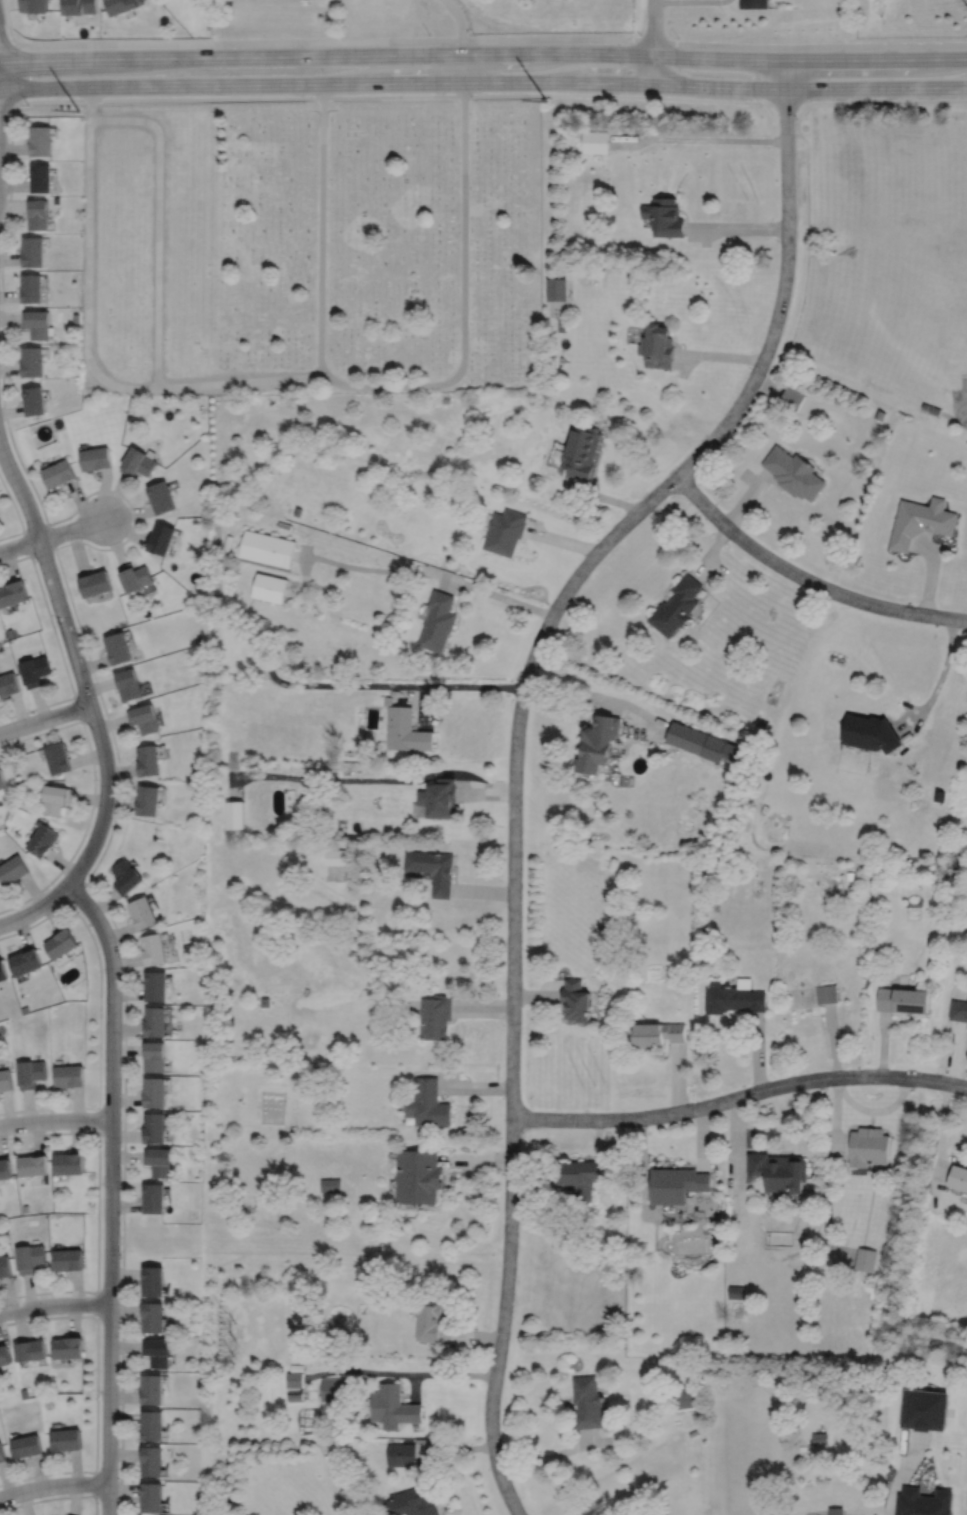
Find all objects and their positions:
road: (689, 1)
building: (752, 4)
building: (34, 6)
building: (123, 6)
building: (80, 7)
road: (9, 21)
street lamp: (476, 35)
road: (462, 37)
street lamp: (678, 37)
road: (483, 39)
road: (654, 41)
road: (0, 42)
road: (483, 53)
road: (483, 80)
road: (881, 100)
road: (6, 112)
road: (793, 112)
street lamp: (9, 124)
building: (596, 139)
road: (700, 139)
building: (41, 142)
building: (40, 177)
building: (38, 212)
building: (664, 214)
road: (737, 227)
road: (322, 229)
road: (806, 240)
park: (312, 247)
building: (32, 250)
building: (31, 287)
building: (556, 287)
road: (464, 299)
building: (36, 321)
building: (561, 324)
road: (90, 342)
building: (657, 344)
road: (719, 356)
building: (32, 360)
building: (792, 397)
building: (446, 398)
building: (34, 399)
parking lot: (959, 402)
building: (922, 405)
building: (933, 410)
building: (879, 414)
building: (580, 450)
building: (95, 457)
building: (137, 462)
building: (58, 472)
building: (792, 472)
road: (601, 495)
building: (161, 496)
street lamp: (88, 498)
road: (747, 499)
building: (296, 511)
road: (17, 515)
building: (919, 521)
road: (49, 523)
road: (72, 528)
building: (504, 531)
building: (161, 538)
road: (562, 540)
road: (19, 545)
road: (53, 547)
building: (267, 548)
road: (709, 550)
street lamp: (35, 561)
road: (407, 570)
road: (930, 572)
building: (134, 577)
road: (805, 579)
building: (96, 583)
building: (270, 587)
building: (13, 593)
building: (676, 606)
building: (437, 621)
road: (58, 647)
building: (118, 648)
road: (265, 662)
road: (78, 664)
building: (34, 670)
street lamp: (92, 678)
road: (939, 682)
building: (8, 685)
building: (129, 685)
road: (600, 695)
building: (387, 700)
road: (78, 708)
street lamp: (30, 712)
road: (45, 717)
building: (144, 719)
building: (761, 723)
building: (405, 729)
building: (869, 734)
building: (598, 741)
building: (703, 745)
road: (515, 746)
building: (58, 759)
building: (148, 761)
street lamp: (97, 779)
road: (369, 779)
building: (2, 781)
building: (736, 786)
road: (94, 792)
building: (939, 796)
building: (439, 797)
building: (56, 798)
building: (149, 799)
building: (420, 811)
building: (234, 813)
building: (43, 838)
building: (337, 856)
building: (13, 867)
building: (432, 868)
building: (127, 875)
building: (849, 875)
road: (76, 888)
road: (483, 891)
street lamp: (72, 902)
road: (35, 907)
building: (145, 910)
street lamp: (117, 940)
building: (62, 942)
building: (156, 947)
building: (26, 960)
building: (3, 969)
building: (158, 984)
building: (827, 993)
road: (537, 995)
building: (734, 996)
building: (577, 999)
building: (904, 999)
building: (265, 1001)
road: (485, 1007)
building: (959, 1009)
road: (100, 1010)
building: (437, 1016)
building: (157, 1020)
building: (658, 1033)
street lamp: (122, 1038)
road: (883, 1043)
road: (757, 1051)
road: (953, 1053)
building: (157, 1054)
building: (31, 1072)
building: (70, 1075)
road: (677, 1078)
building: (6, 1079)
road: (460, 1087)
building: (156, 1091)
road: (739, 1096)
building: (429, 1104)
street lamp: (54, 1110)
road: (877, 1110)
road: (55, 1119)
road: (99, 1119)
building: (156, 1127)
road: (941, 1129)
road: (596, 1138)
road: (831, 1138)
road: (702, 1139)
road: (736, 1142)
street lamp: (122, 1144)
building: (869, 1146)
road: (476, 1159)
building: (160, 1160)
building: (70, 1163)
building: (33, 1164)
building: (5, 1168)
road: (642, 1168)
building: (777, 1171)
building: (579, 1175)
building: (419, 1176)
building: (958, 1177)
building: (676, 1184)
building: (330, 1185)
road: (539, 1187)
road: (111, 1191)
building: (156, 1198)
road: (98, 1210)
street lamp: (121, 1255)
building: (30, 1257)
building: (69, 1259)
building: (865, 1259)
building: (5, 1266)
building: (155, 1281)
building: (737, 1292)
road: (97, 1303)
road: (54, 1304)
street lamp: (44, 1315)
building: (154, 1317)
building: (429, 1321)
building: (342, 1323)
building: (364, 1334)
road: (472, 1336)
building: (345, 1338)
building: (67, 1348)
building: (29, 1350)
building: (159, 1351)
building: (4, 1356)
building: (297, 1367)
road: (400, 1373)
building: (294, 1379)
road: (414, 1387)
building: (334, 1389)
building: (153, 1390)
road: (96, 1392)
building: (295, 1395)
building: (685, 1396)
street lamp: (98, 1397)
building: (587, 1402)
building: (392, 1407)
building: (924, 1411)
building: (153, 1426)
building: (693, 1432)
building: (819, 1439)
building: (65, 1440)
building: (423, 1442)
building: (25, 1446)
road: (456, 1449)
building: (2, 1454)
road: (555, 1454)
building: (401, 1455)
building: (151, 1462)
road: (902, 1474)
road: (95, 1483)
road: (53, 1485)
street lamp: (41, 1497)
road: (56, 1497)
building: (151, 1498)
street lamp: (98, 1502)
building: (411, 1502)
building: (923, 1503)
building: (835, 1510)

